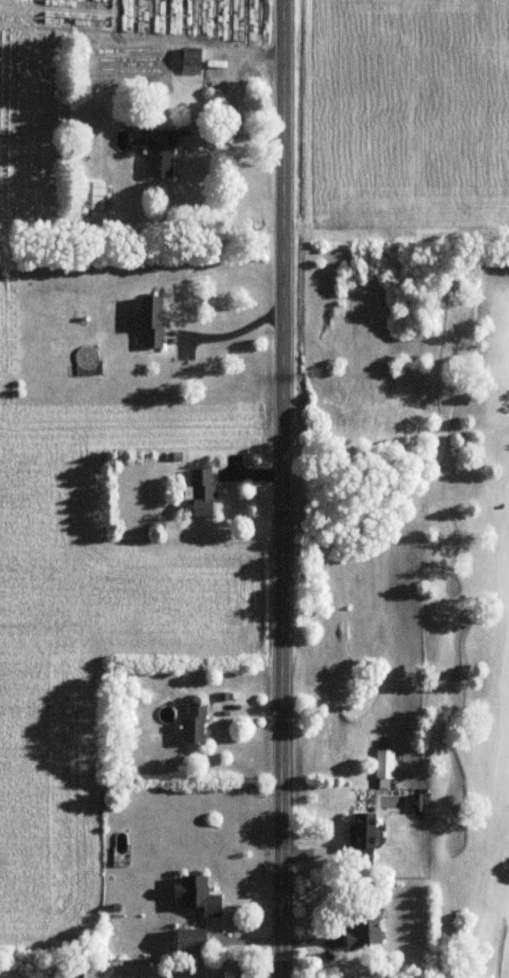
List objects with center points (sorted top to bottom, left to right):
building: (80, 3)
building: (77, 19)
building: (191, 61)
road: (230, 73)
road: (231, 139)
building: (160, 152)
building: (90, 196)
building: (152, 323)
road: (232, 328)
road: (285, 488)
building: (203, 493)
park: (463, 609)
building: (195, 723)
building: (365, 832)
building: (198, 894)
building: (362, 929)
building: (191, 940)
road: (499, 948)
road: (264, 969)

